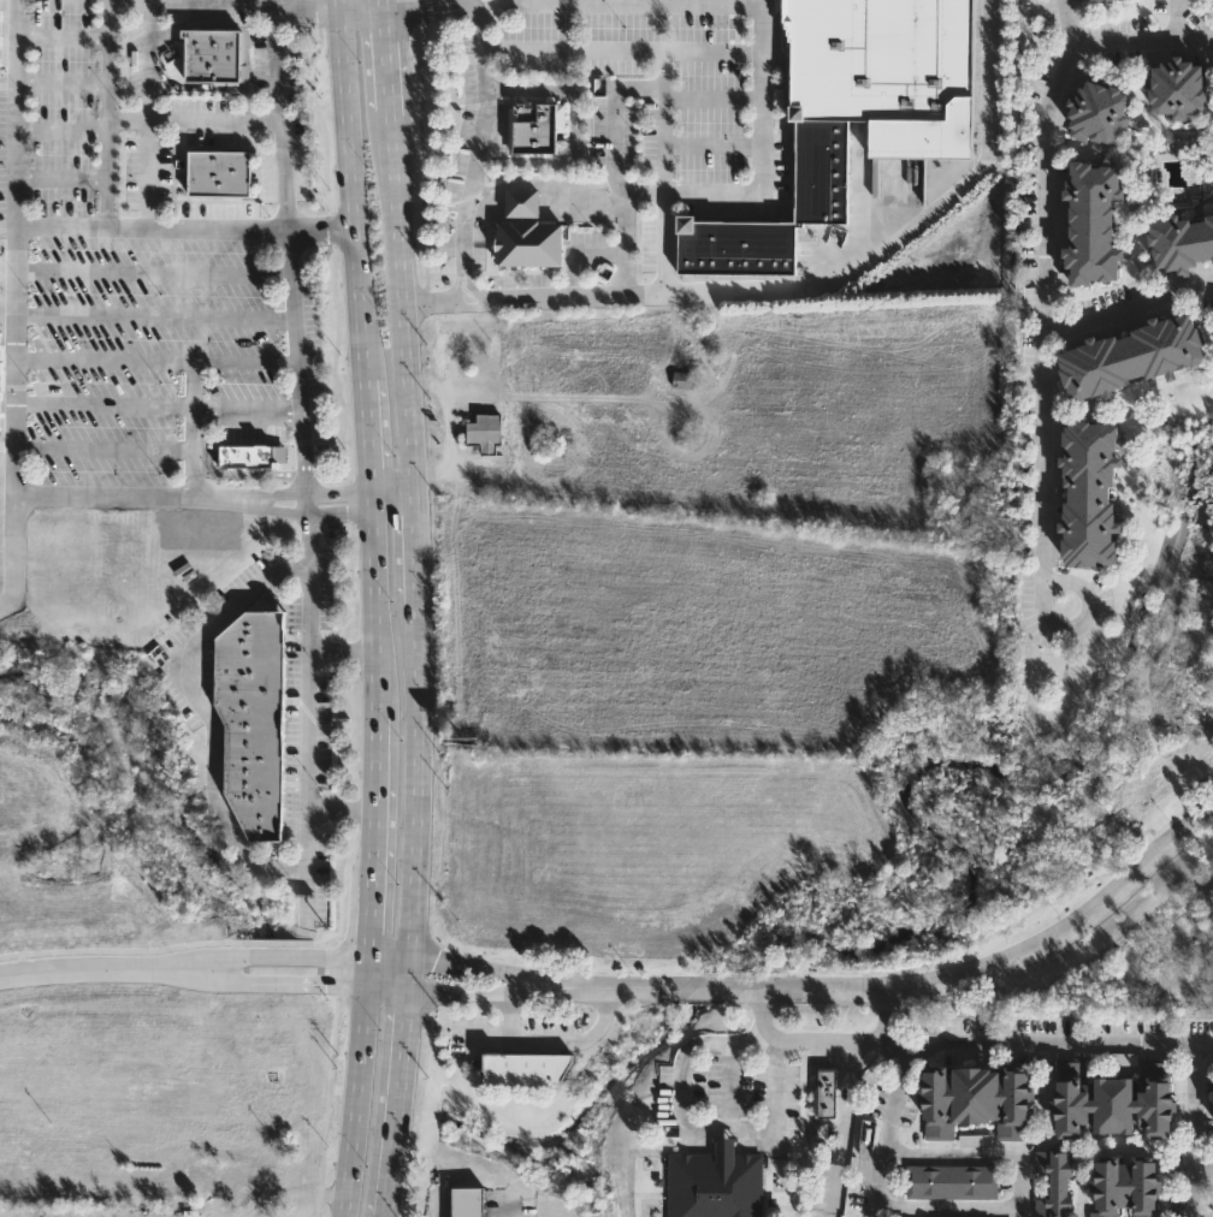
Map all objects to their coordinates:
building: (1089, 0)
road: (194, 2)
road: (425, 4)
road: (338, 5)
road: (308, 6)
road: (359, 8)
road: (1171, 19)
building: (0, 20)
road: (64, 36)
road: (1142, 40)
building: (214, 55)
road: (664, 72)
building: (888, 72)
parking lot: (632, 82)
road: (64, 84)
building: (1181, 84)
building: (1097, 111)
road: (110, 112)
road: (195, 118)
building: (538, 125)
road: (574, 127)
road: (64, 129)
parking lot: (75, 130)
road: (478, 149)
building: (822, 171)
building: (219, 172)
road: (63, 178)
road: (759, 190)
road: (349, 195)
road: (640, 195)
road: (584, 196)
building: (1212, 209)
building: (1093, 221)
road: (153, 225)
road: (320, 225)
building: (527, 232)
building: (1181, 239)
building: (735, 248)
road: (290, 255)
road: (154, 268)
road: (797, 286)
road: (1046, 302)
road: (17, 307)
road: (1129, 308)
road: (155, 319)
building: (1130, 356)
parking lot: (143, 360)
road: (158, 363)
building: (1, 378)
building: (686, 382)
road: (159, 406)
road: (442, 428)
road: (194, 429)
building: (486, 434)
road: (371, 435)
road: (106, 451)
building: (255, 457)
road: (392, 489)
building: (1088, 492)
road: (301, 494)
road: (123, 495)
road: (374, 505)
road: (301, 509)
road: (394, 516)
road: (416, 607)
road: (380, 613)
road: (347, 654)
road: (201, 704)
road: (309, 712)
building: (253, 719)
road: (342, 809)
road: (375, 831)
road: (264, 952)
road: (467, 964)
road: (368, 969)
road: (79, 973)
road: (262, 984)
road: (913, 984)
road: (465, 993)
road: (884, 1015)
road: (809, 1038)
road: (484, 1040)
road: (554, 1043)
road: (1051, 1043)
road: (474, 1049)
building: (522, 1070)
road: (728, 1086)
building: (827, 1093)
building: (971, 1098)
road: (357, 1102)
building: (1112, 1105)
road: (844, 1124)
road: (694, 1127)
road: (1193, 1129)
road: (890, 1135)
road: (1202, 1163)
building: (953, 1179)
building: (717, 1182)
building: (1055, 1182)
building: (1126, 1186)
building: (236, 1187)
road: (1022, 1187)
road: (331, 1194)
road: (276, 1199)
building: (468, 1203)
road: (310, 1206)
road: (1201, 1215)

